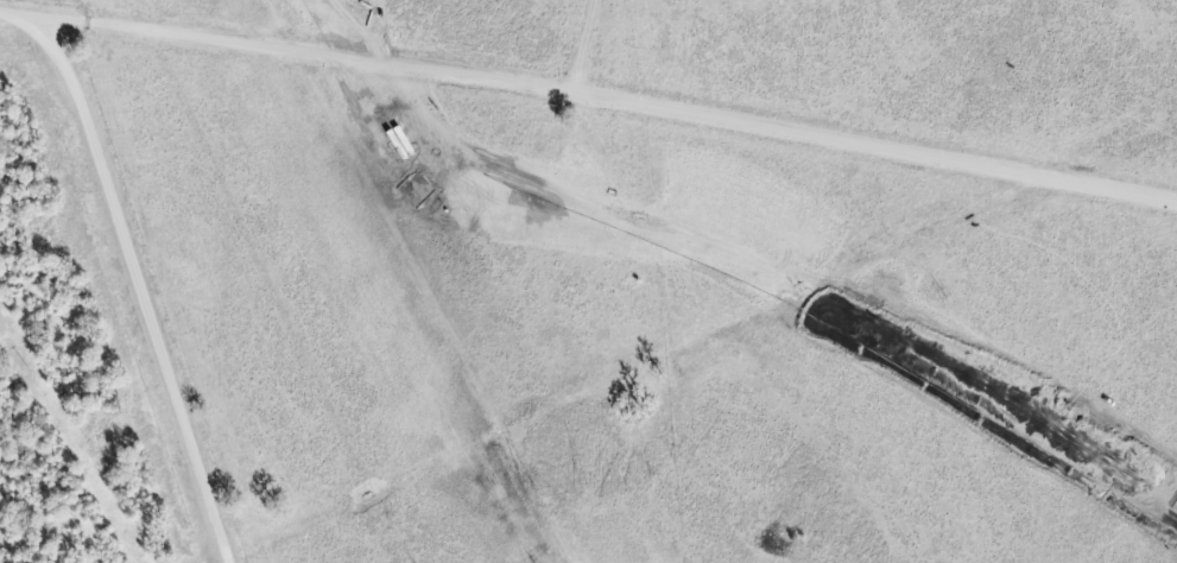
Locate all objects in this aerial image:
road: (587, 44)
road: (590, 90)
road: (137, 290)

